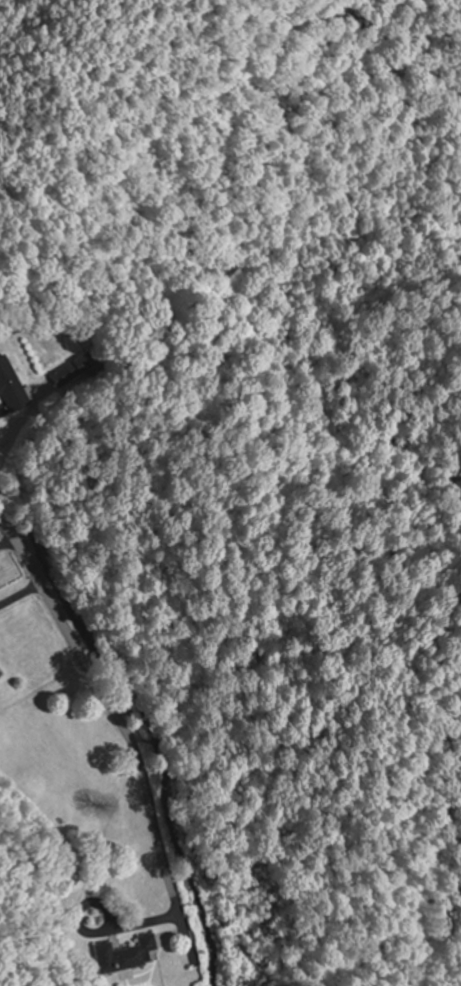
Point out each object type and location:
building: (74, 370)
building: (12, 385)
building: (0, 672)
road: (101, 702)
building: (126, 953)

